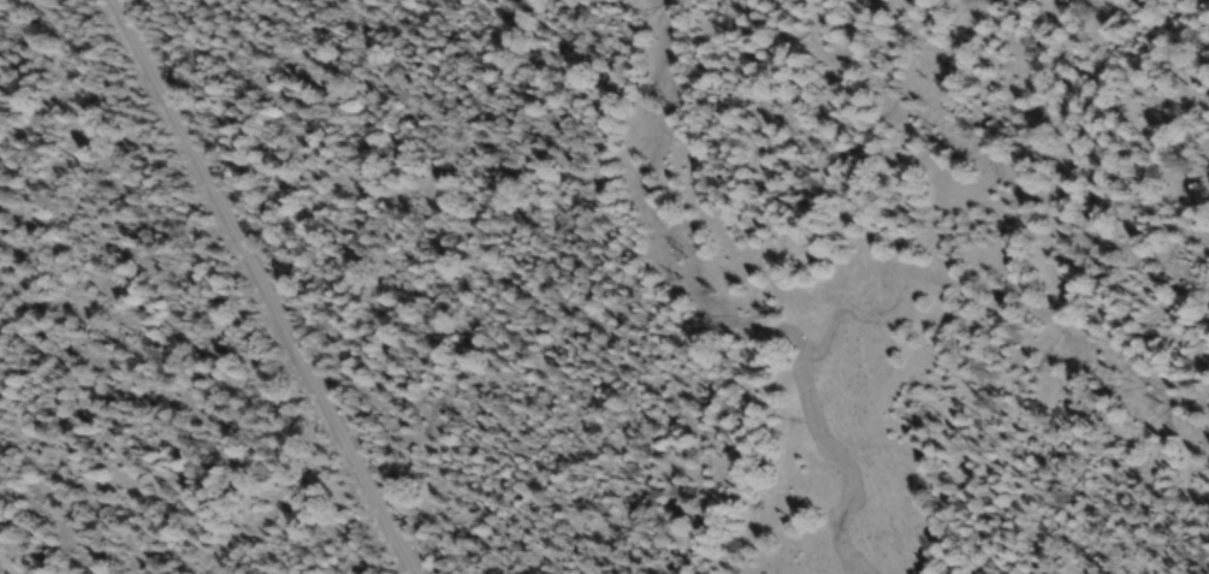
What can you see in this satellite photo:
road: (8, 567)

